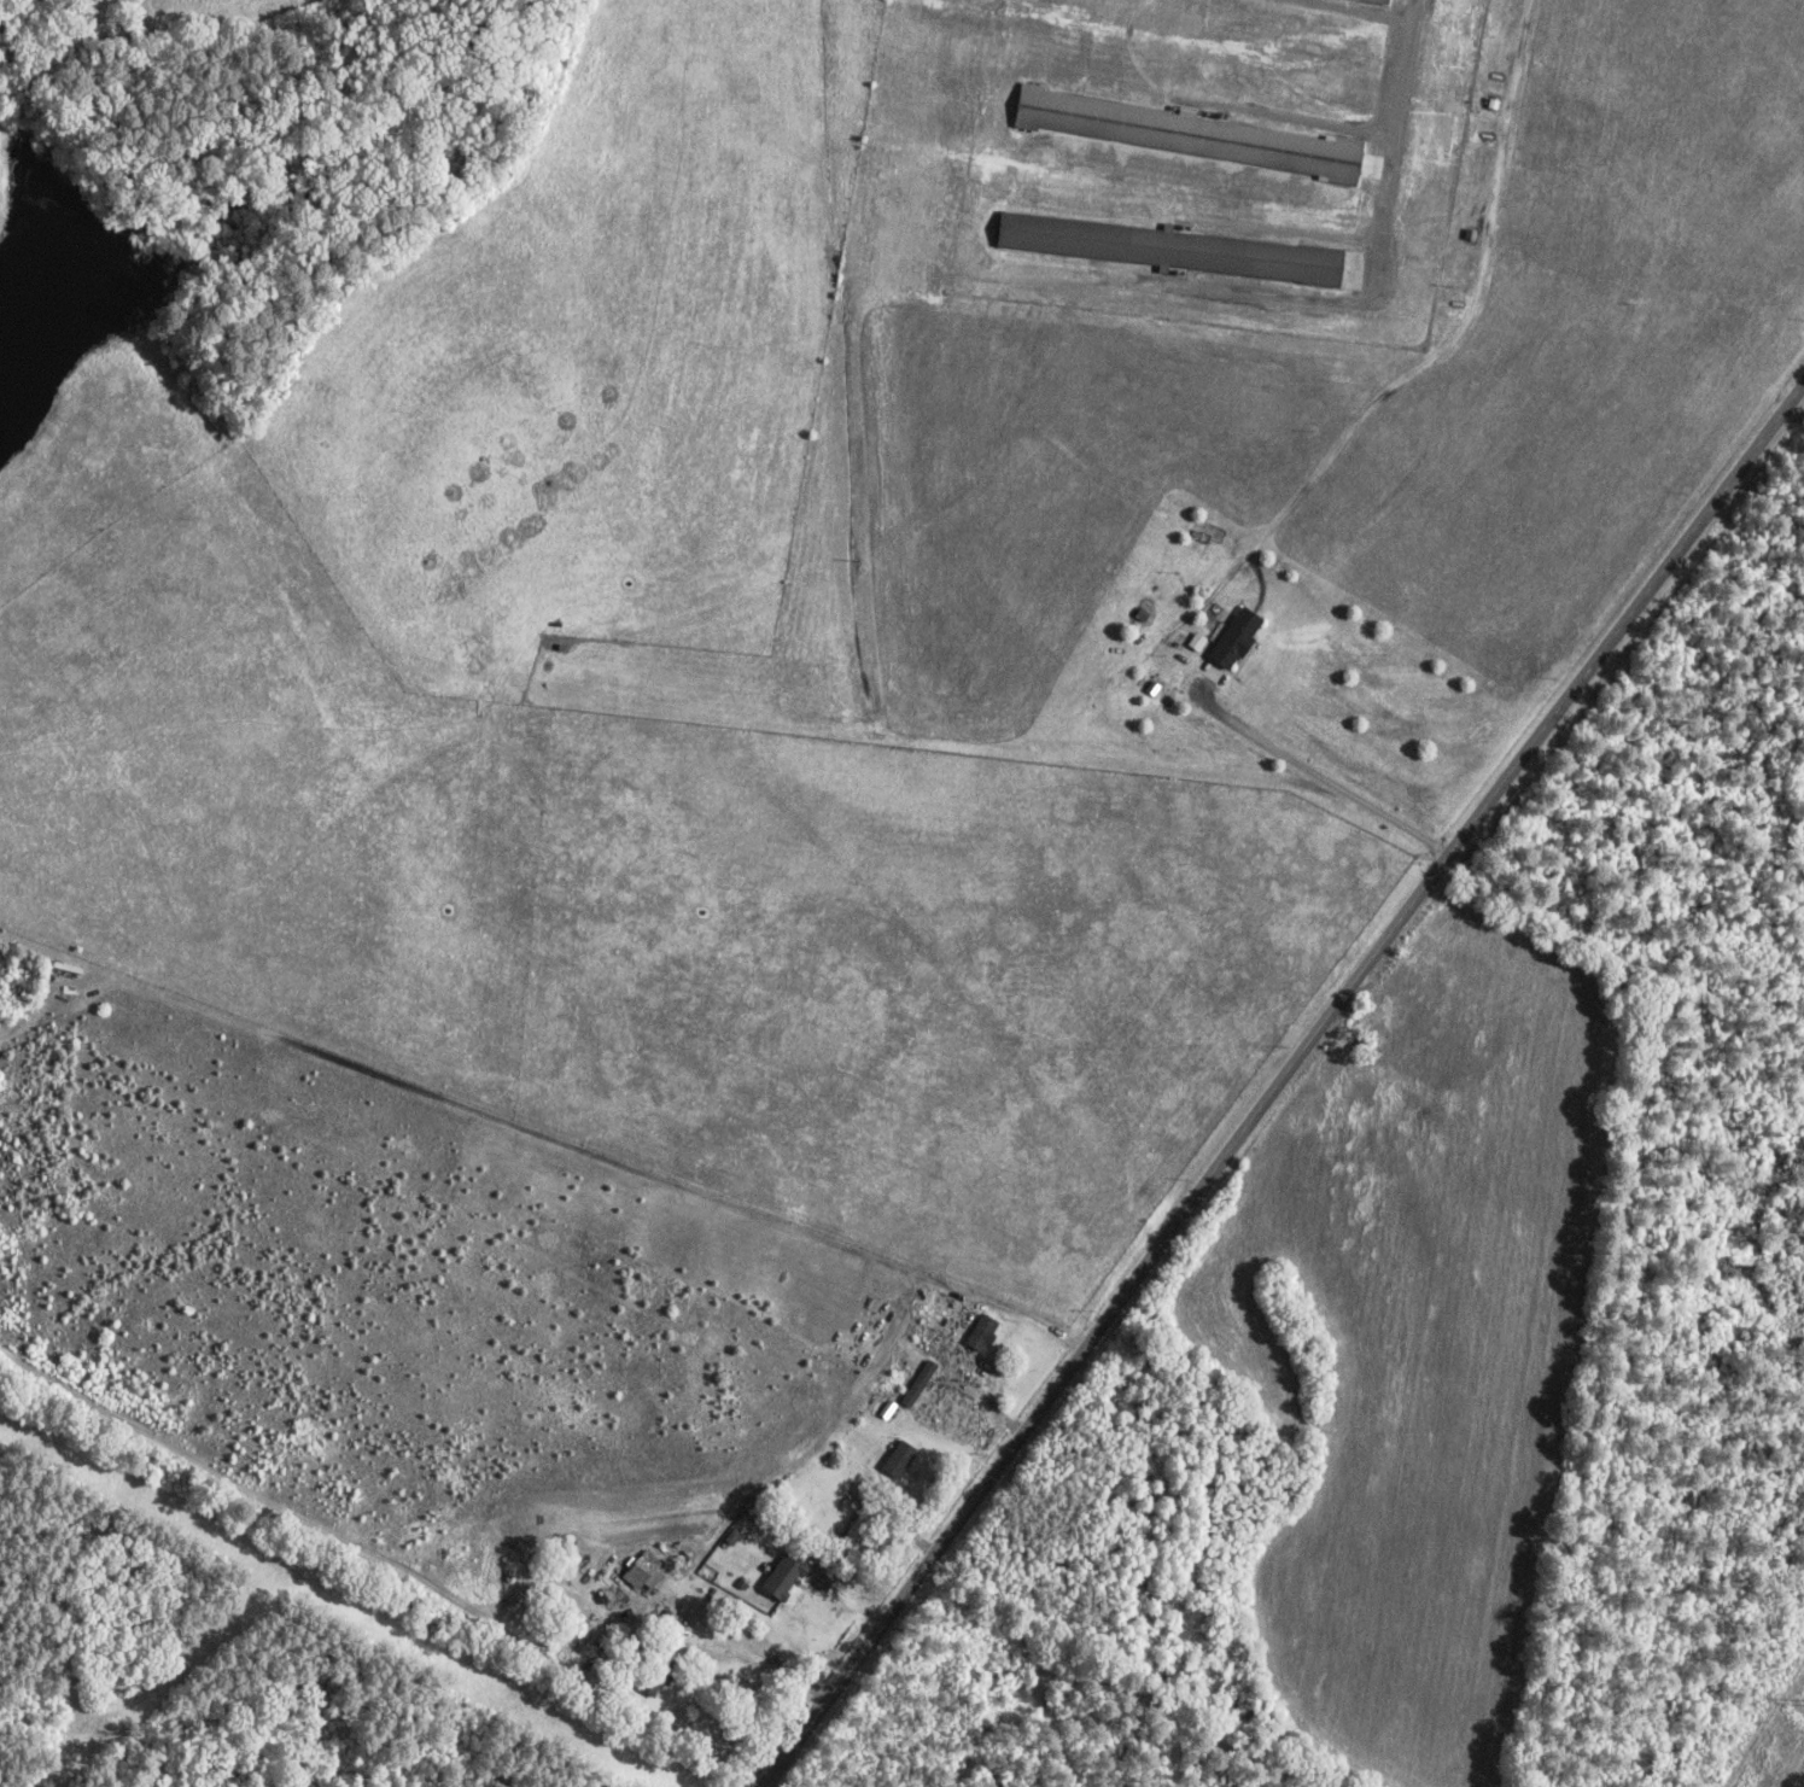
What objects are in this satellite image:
building: (1389, 0)
building: (1192, 136)
building: (1175, 251)
building: (1240, 640)
road: (1274, 1080)
road: (1015, 1304)
building: (985, 1335)
building: (923, 1384)
building: (903, 1460)
building: (856, 1532)
building: (647, 1575)

